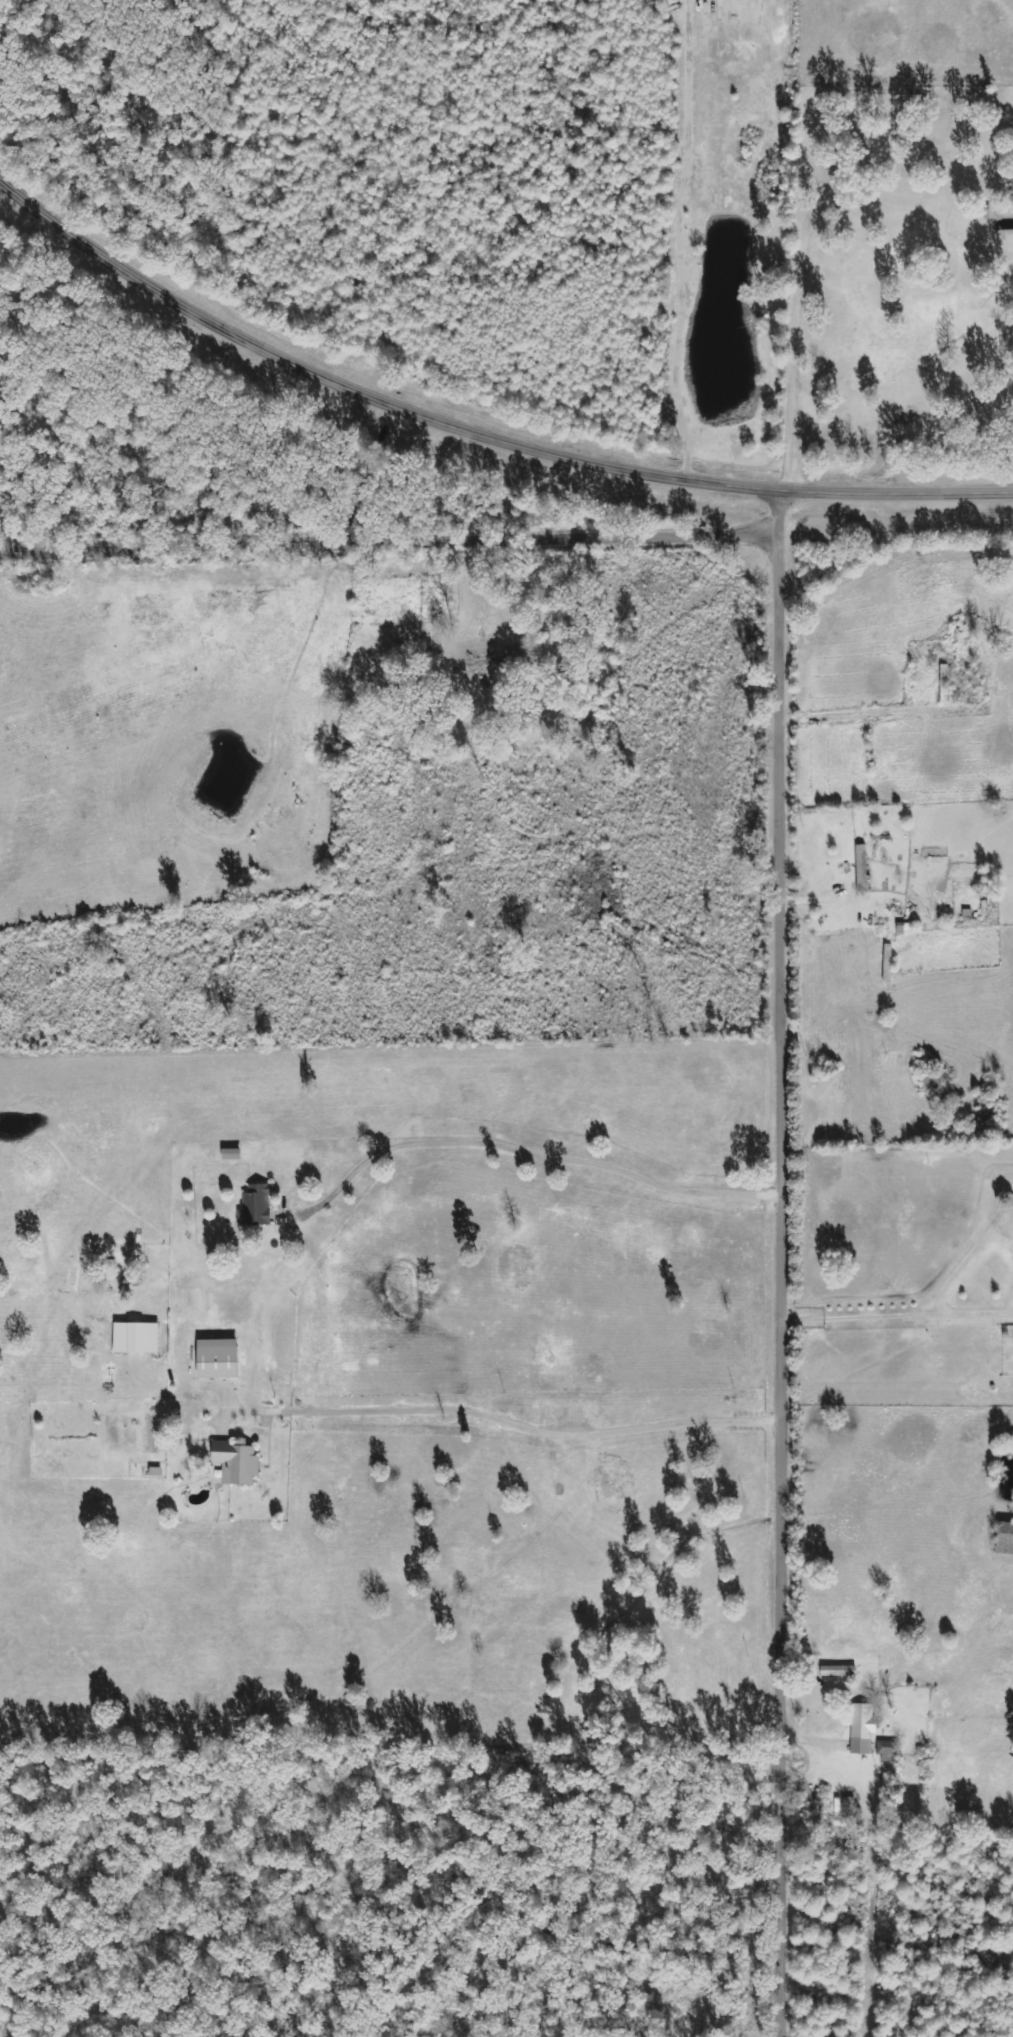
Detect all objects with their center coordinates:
road: (476, 433)
road: (10, 532)
road: (393, 546)
building: (860, 866)
building: (258, 1205)
road: (789, 1263)
building: (139, 1337)
building: (222, 1357)
building: (240, 1462)
building: (1003, 1536)
building: (861, 1727)
building: (887, 1746)

